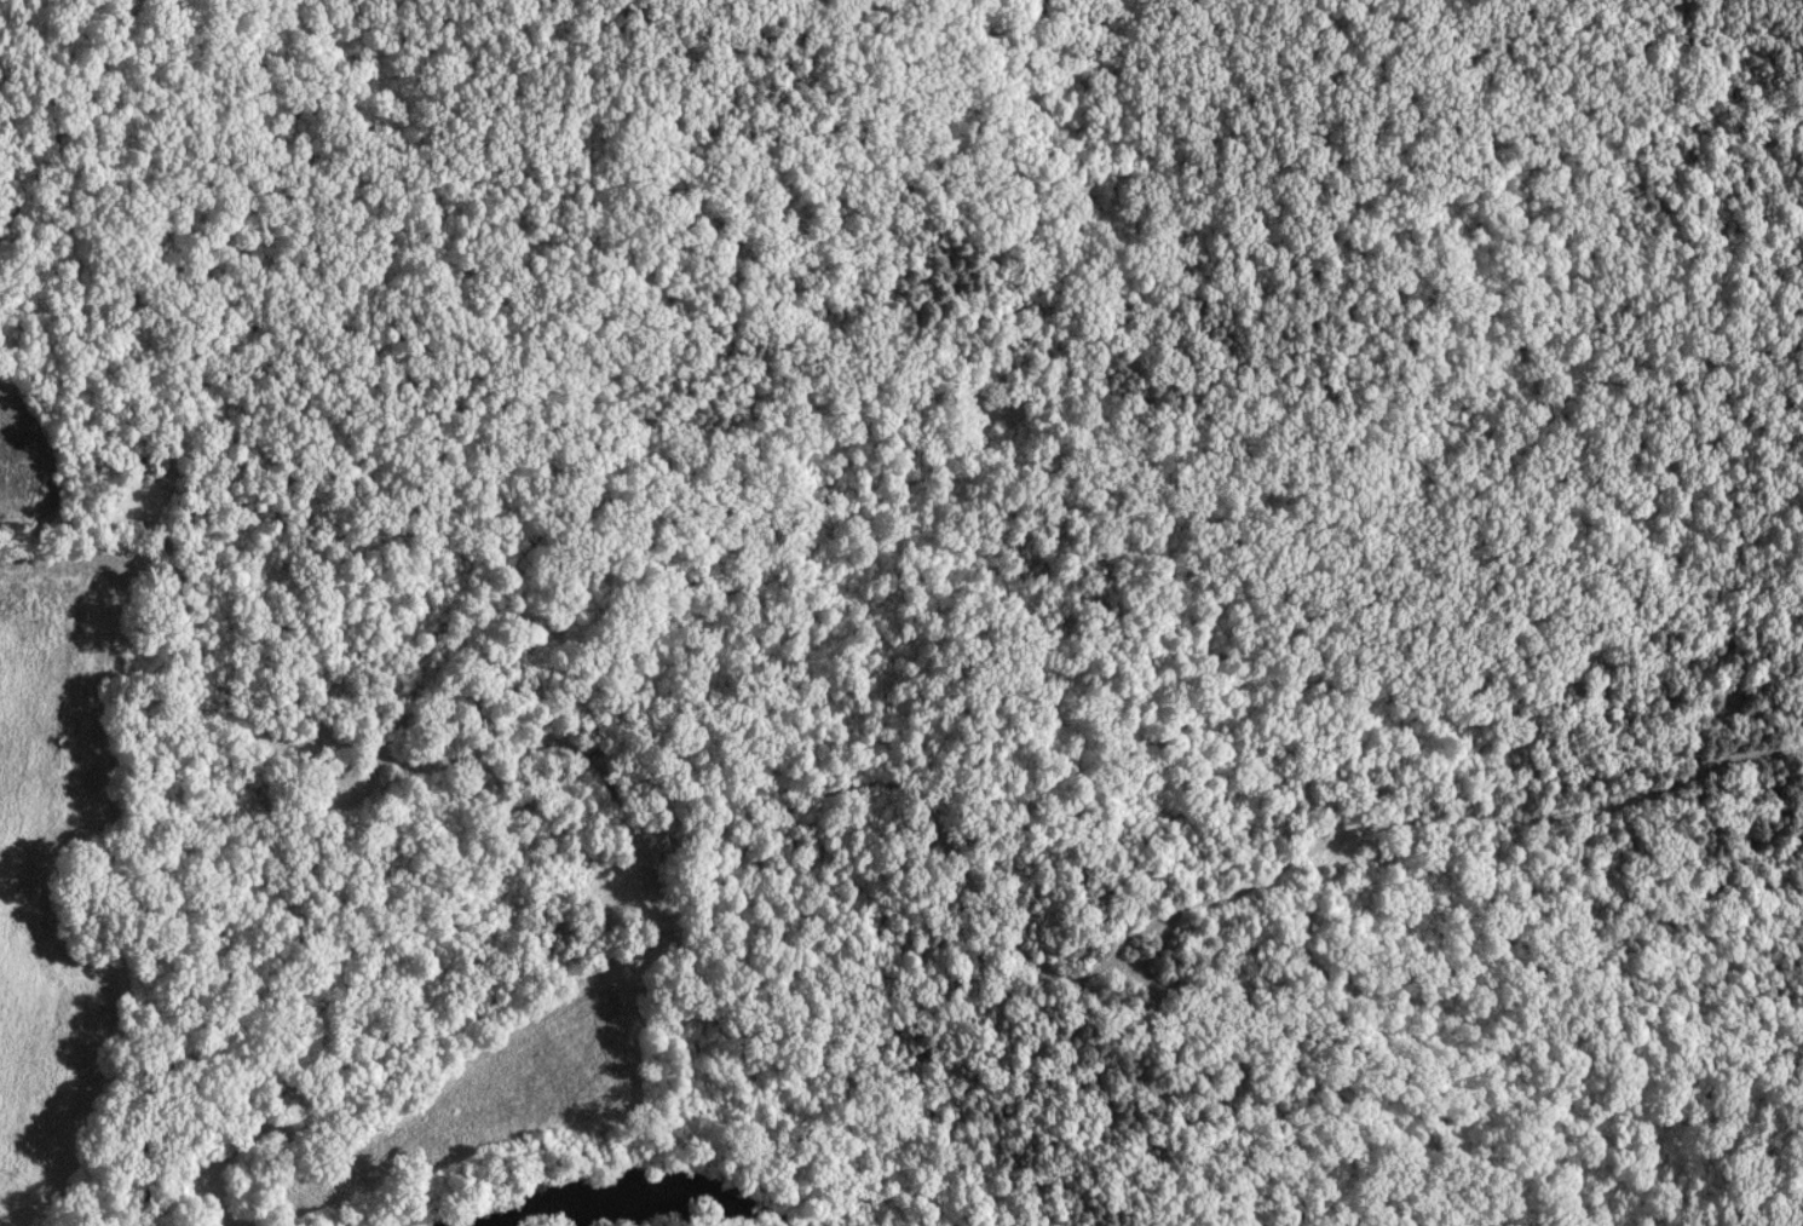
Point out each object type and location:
road: (63, 127)
road: (841, 787)

